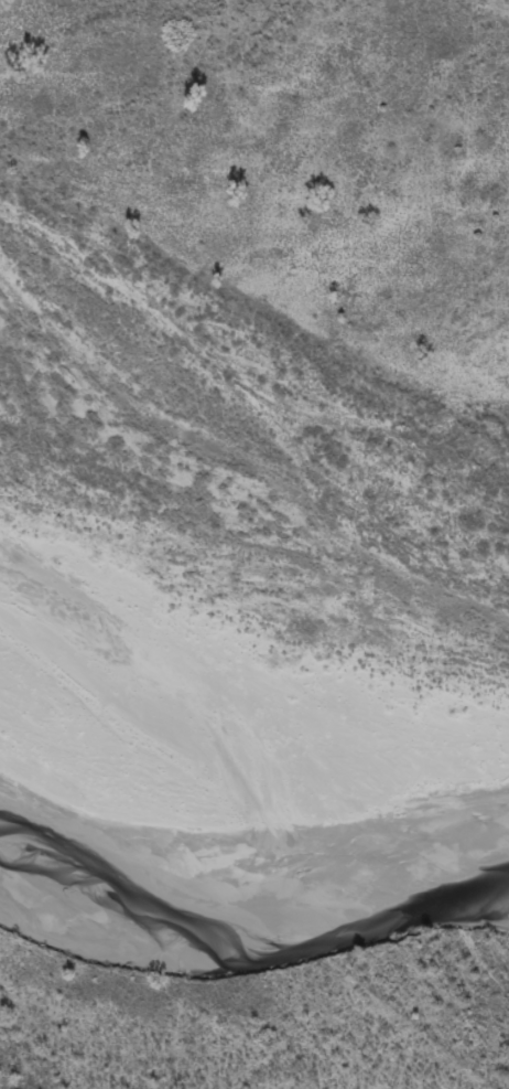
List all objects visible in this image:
river: (245, 776)

